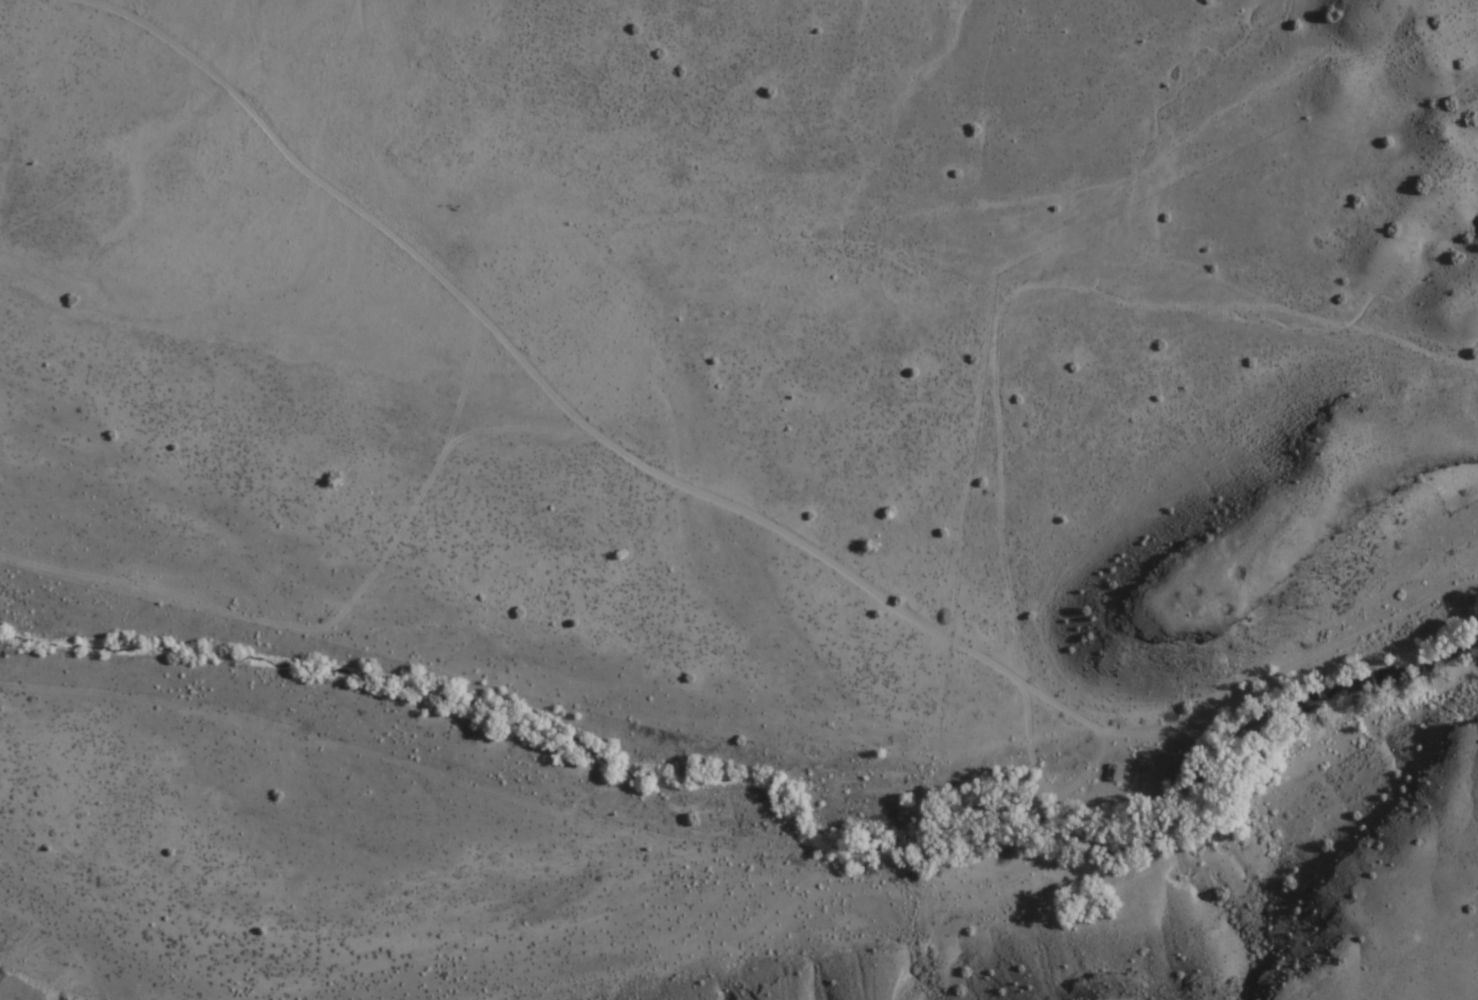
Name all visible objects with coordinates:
road: (765, 208)
river: (757, 767)
building: (1113, 773)
building: (1166, 786)

